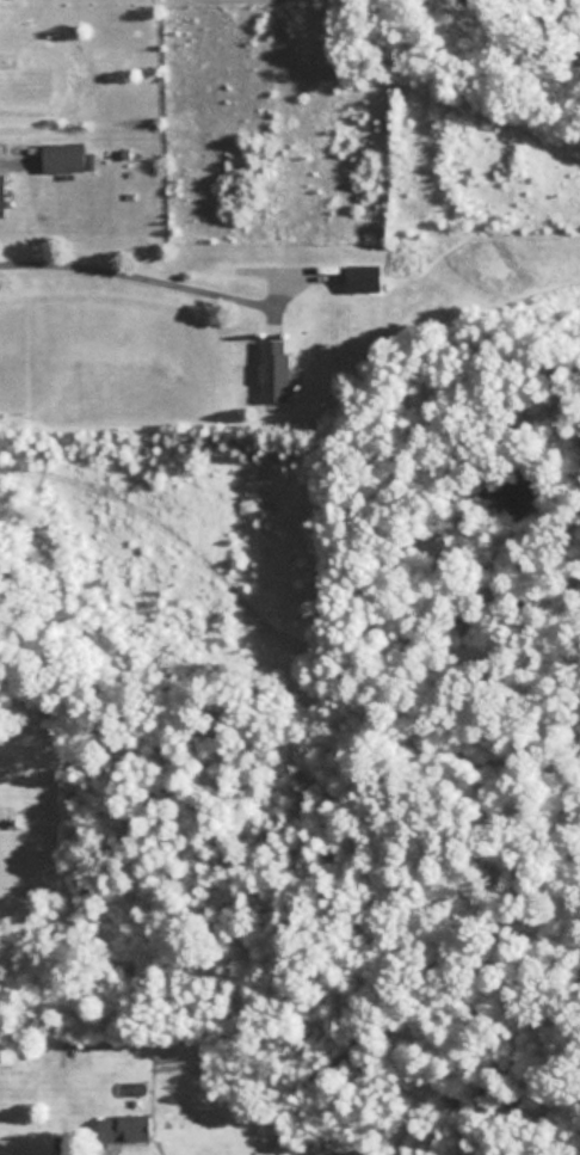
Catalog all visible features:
building: (62, 156)
building: (1, 195)
building: (362, 277)
building: (273, 369)
building: (119, 1129)
road: (31, 1150)

